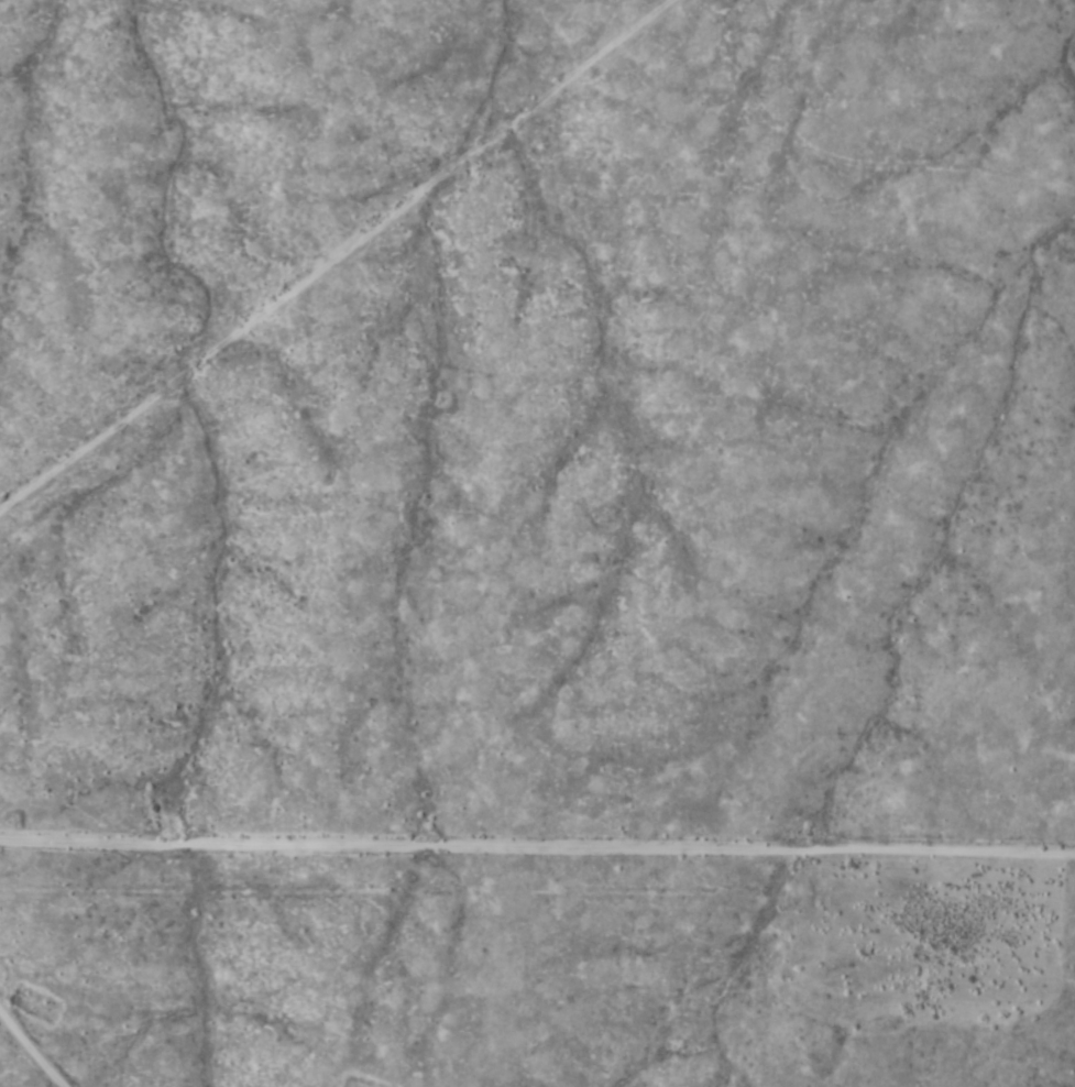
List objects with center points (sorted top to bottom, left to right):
road: (343, 257)
road: (537, 892)

